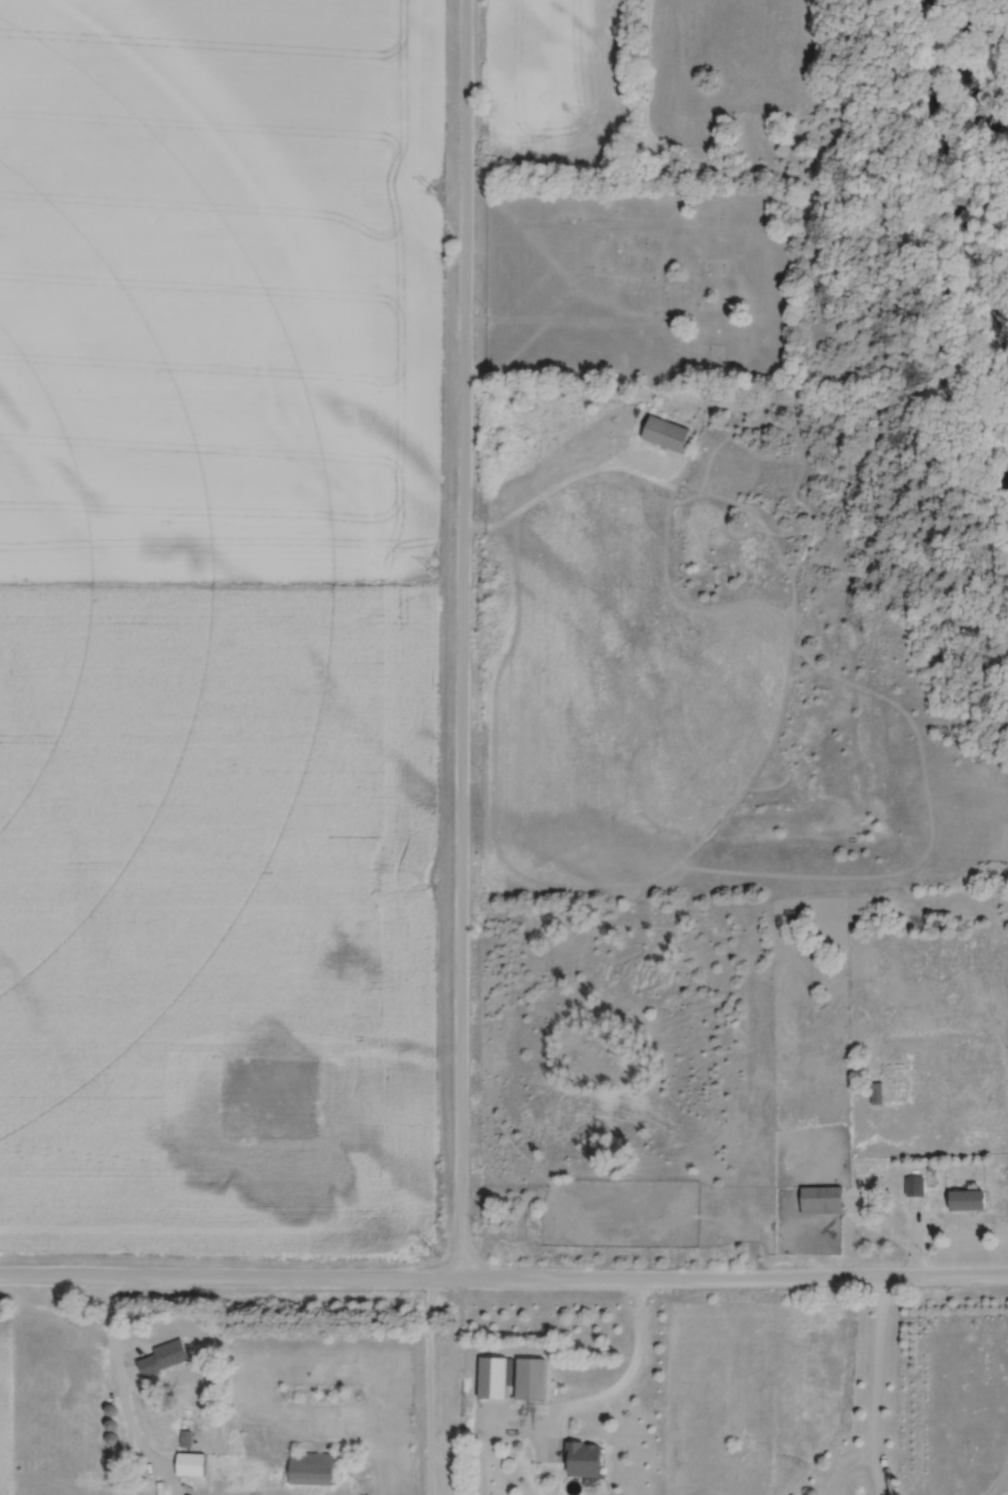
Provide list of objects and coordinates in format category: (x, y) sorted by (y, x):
river: (925, 156)
power tower: (435, 183)
park: (634, 290)
building: (667, 434)
river: (1006, 481)
road: (567, 484)
power tower: (433, 568)
road: (459, 639)
power tower: (431, 885)
building: (894, 1084)
building: (916, 1188)
building: (824, 1201)
building: (969, 1202)
power tower: (431, 1240)
road: (503, 1279)
building: (166, 1358)
building: (494, 1378)
road: (622, 1378)
building: (532, 1379)
road: (120, 1383)
road: (430, 1386)
road: (875, 1387)
building: (586, 1458)
building: (193, 1464)
building: (314, 1468)

